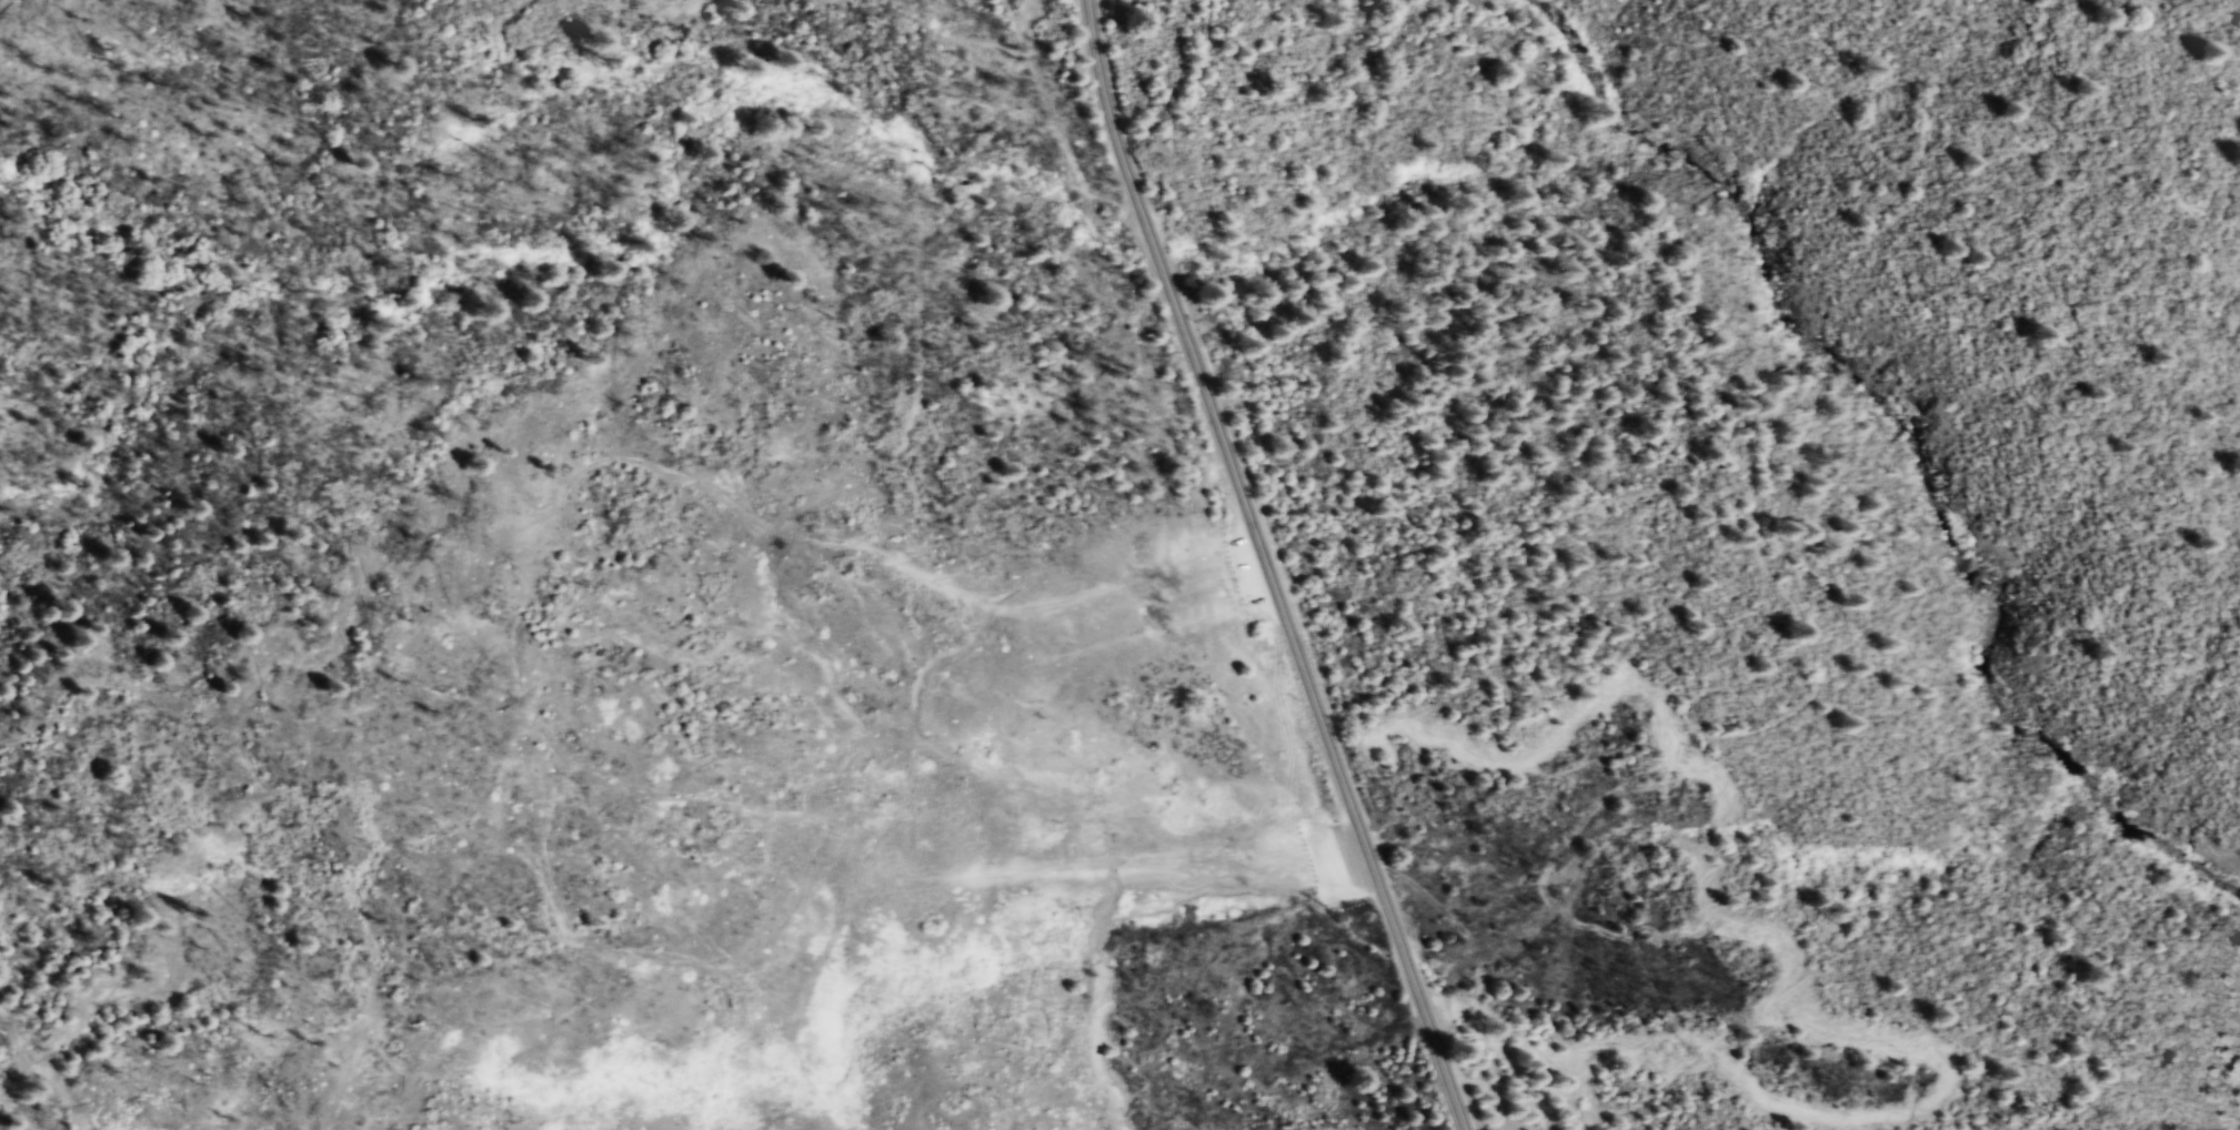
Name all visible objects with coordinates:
road: (554, 195)
road: (1274, 566)
road: (42, 1067)

